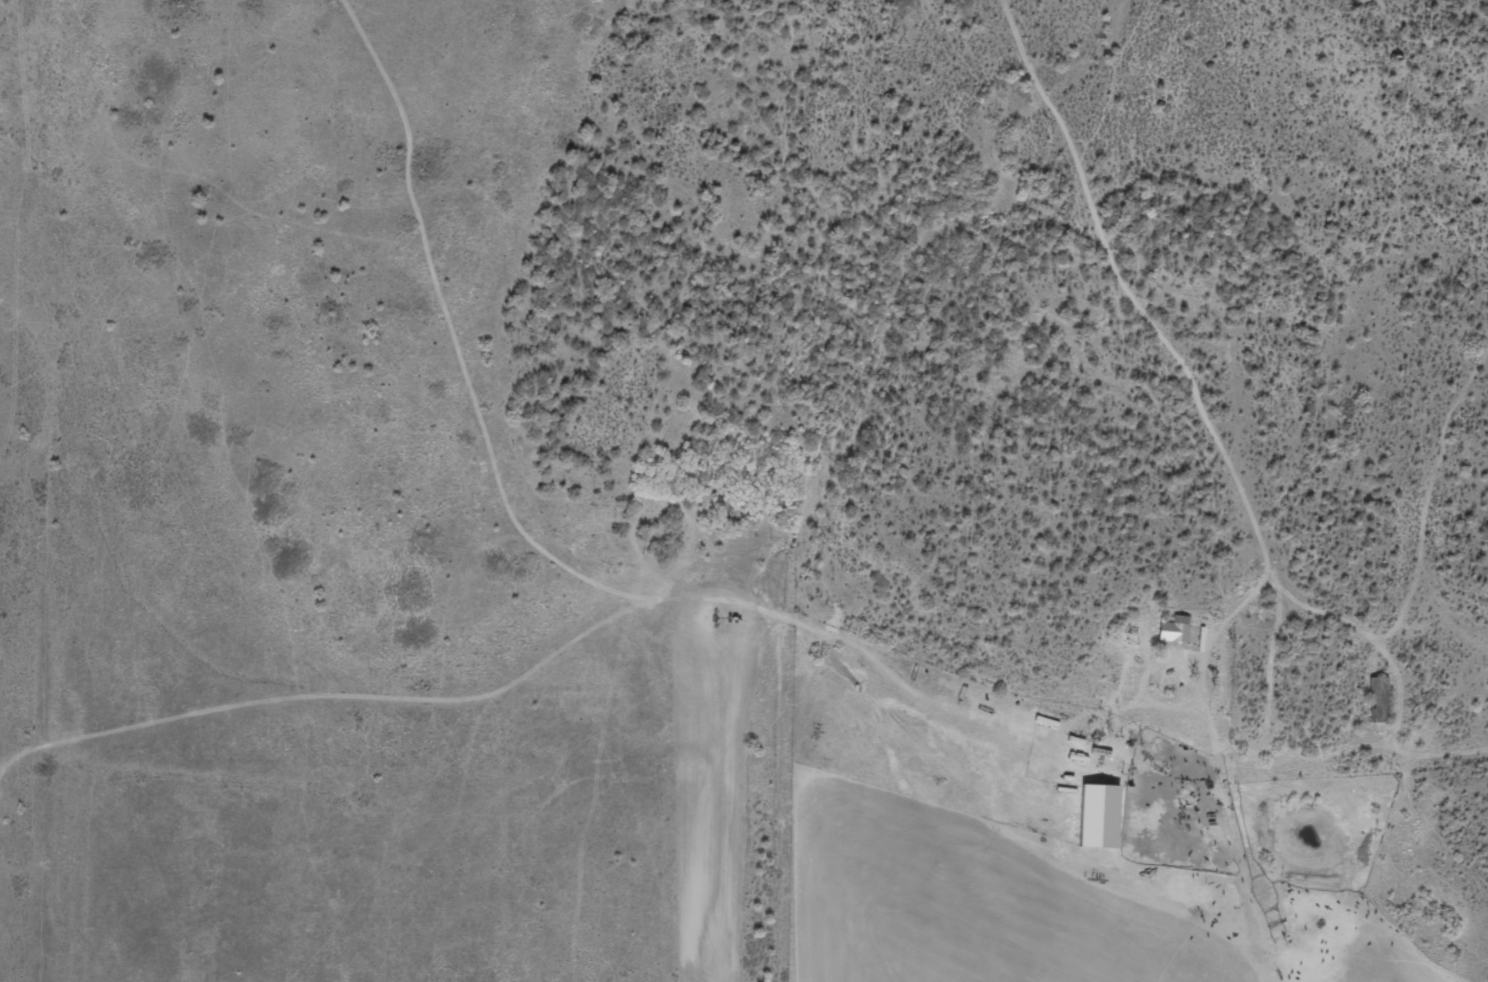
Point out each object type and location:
building: (510, 462)
road: (1240, 468)
road: (538, 516)
building: (1175, 631)
building: (1378, 701)

